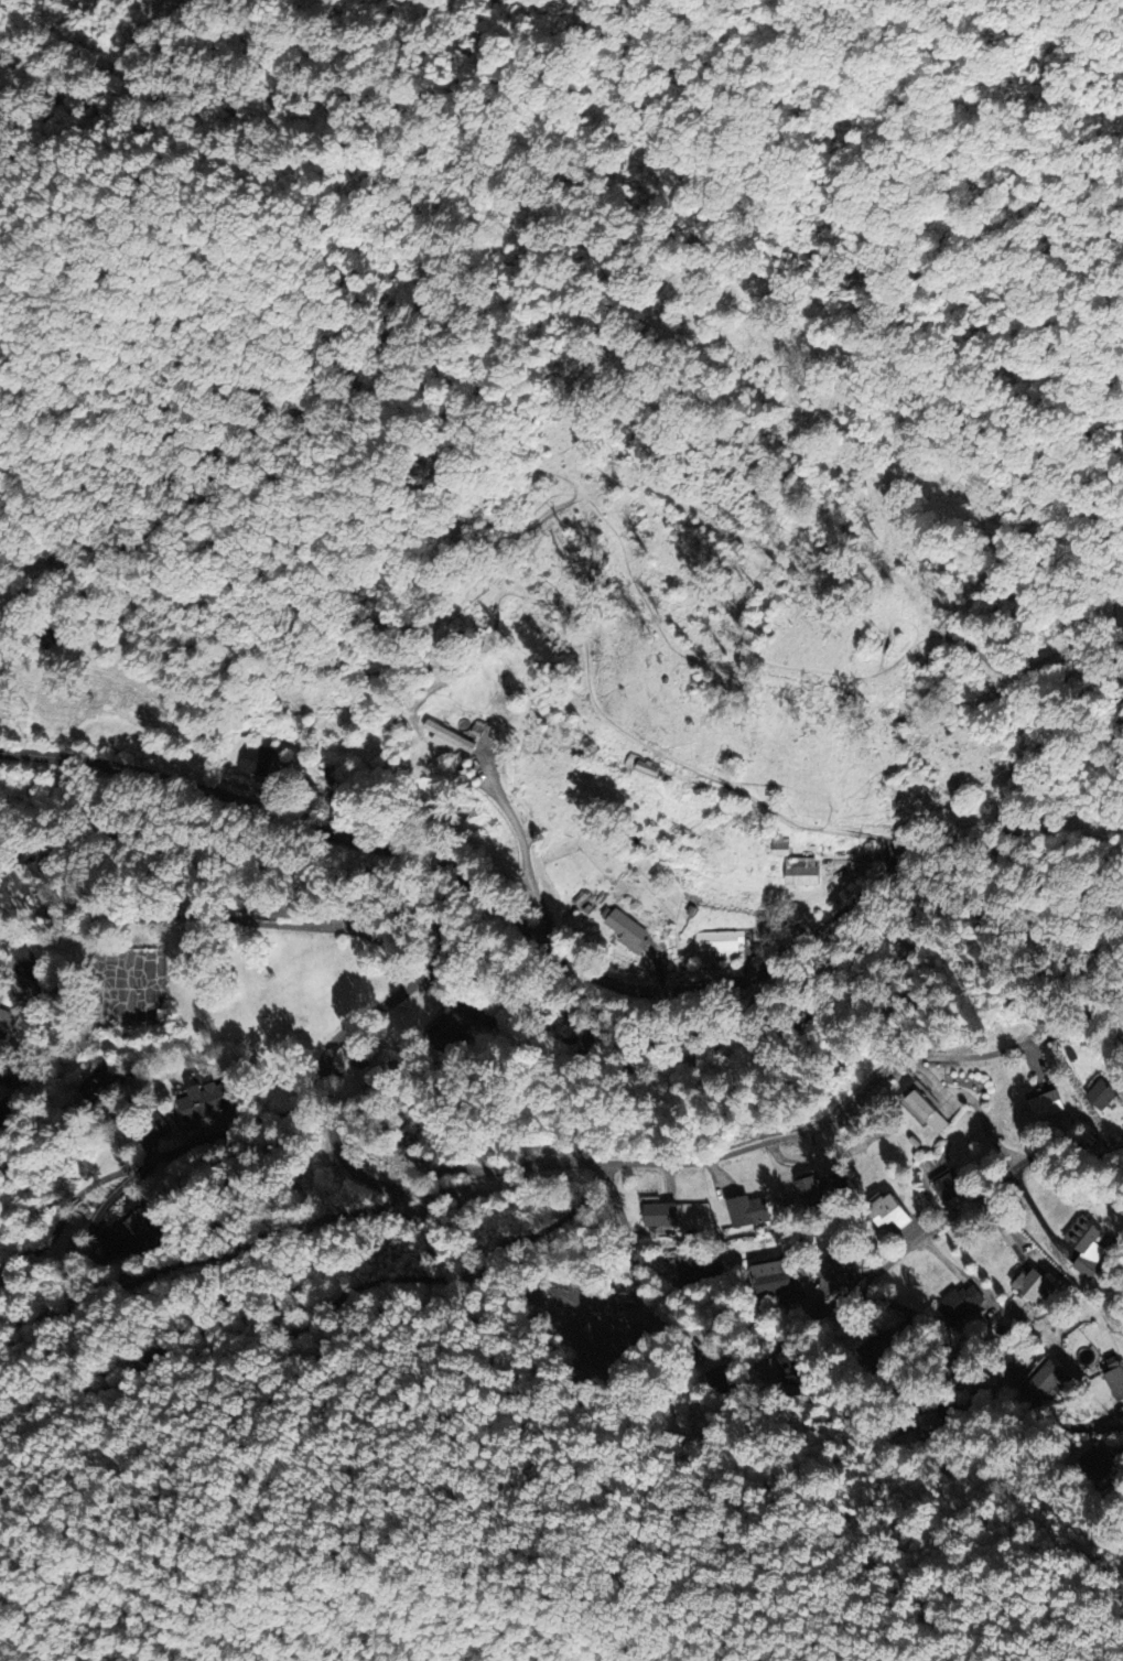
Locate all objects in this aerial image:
building: (447, 737)
building: (256, 758)
building: (643, 766)
road: (1049, 818)
building: (780, 845)
road: (522, 849)
building: (802, 871)
building: (272, 909)
road: (420, 914)
road: (507, 914)
road: (216, 917)
building: (627, 930)
building: (719, 941)
building: (19, 956)
building: (36, 980)
building: (1, 994)
building: (7, 1020)
building: (447, 1031)
building: (367, 1074)
building: (15, 1082)
building: (99, 1088)
road: (863, 1088)
building: (1102, 1094)
building: (205, 1100)
road: (305, 1100)
building: (1047, 1104)
building: (6, 1109)
building: (155, 1123)
road: (426, 1178)
building: (948, 1186)
building: (809, 1191)
road: (978, 1195)
road: (69, 1209)
building: (747, 1211)
building: (888, 1211)
building: (660, 1215)
building: (138, 1228)
building: (1086, 1247)
road: (201, 1260)
building: (838, 1269)
building: (700, 1272)
building: (775, 1279)
building: (1033, 1284)
building: (960, 1303)
road: (830, 1311)
road: (306, 1324)
building: (882, 1346)
building: (791, 1370)
building: (722, 1377)
building: (1115, 1379)
building: (1044, 1380)
road: (1105, 1416)
building: (925, 1423)
building: (1097, 1462)

